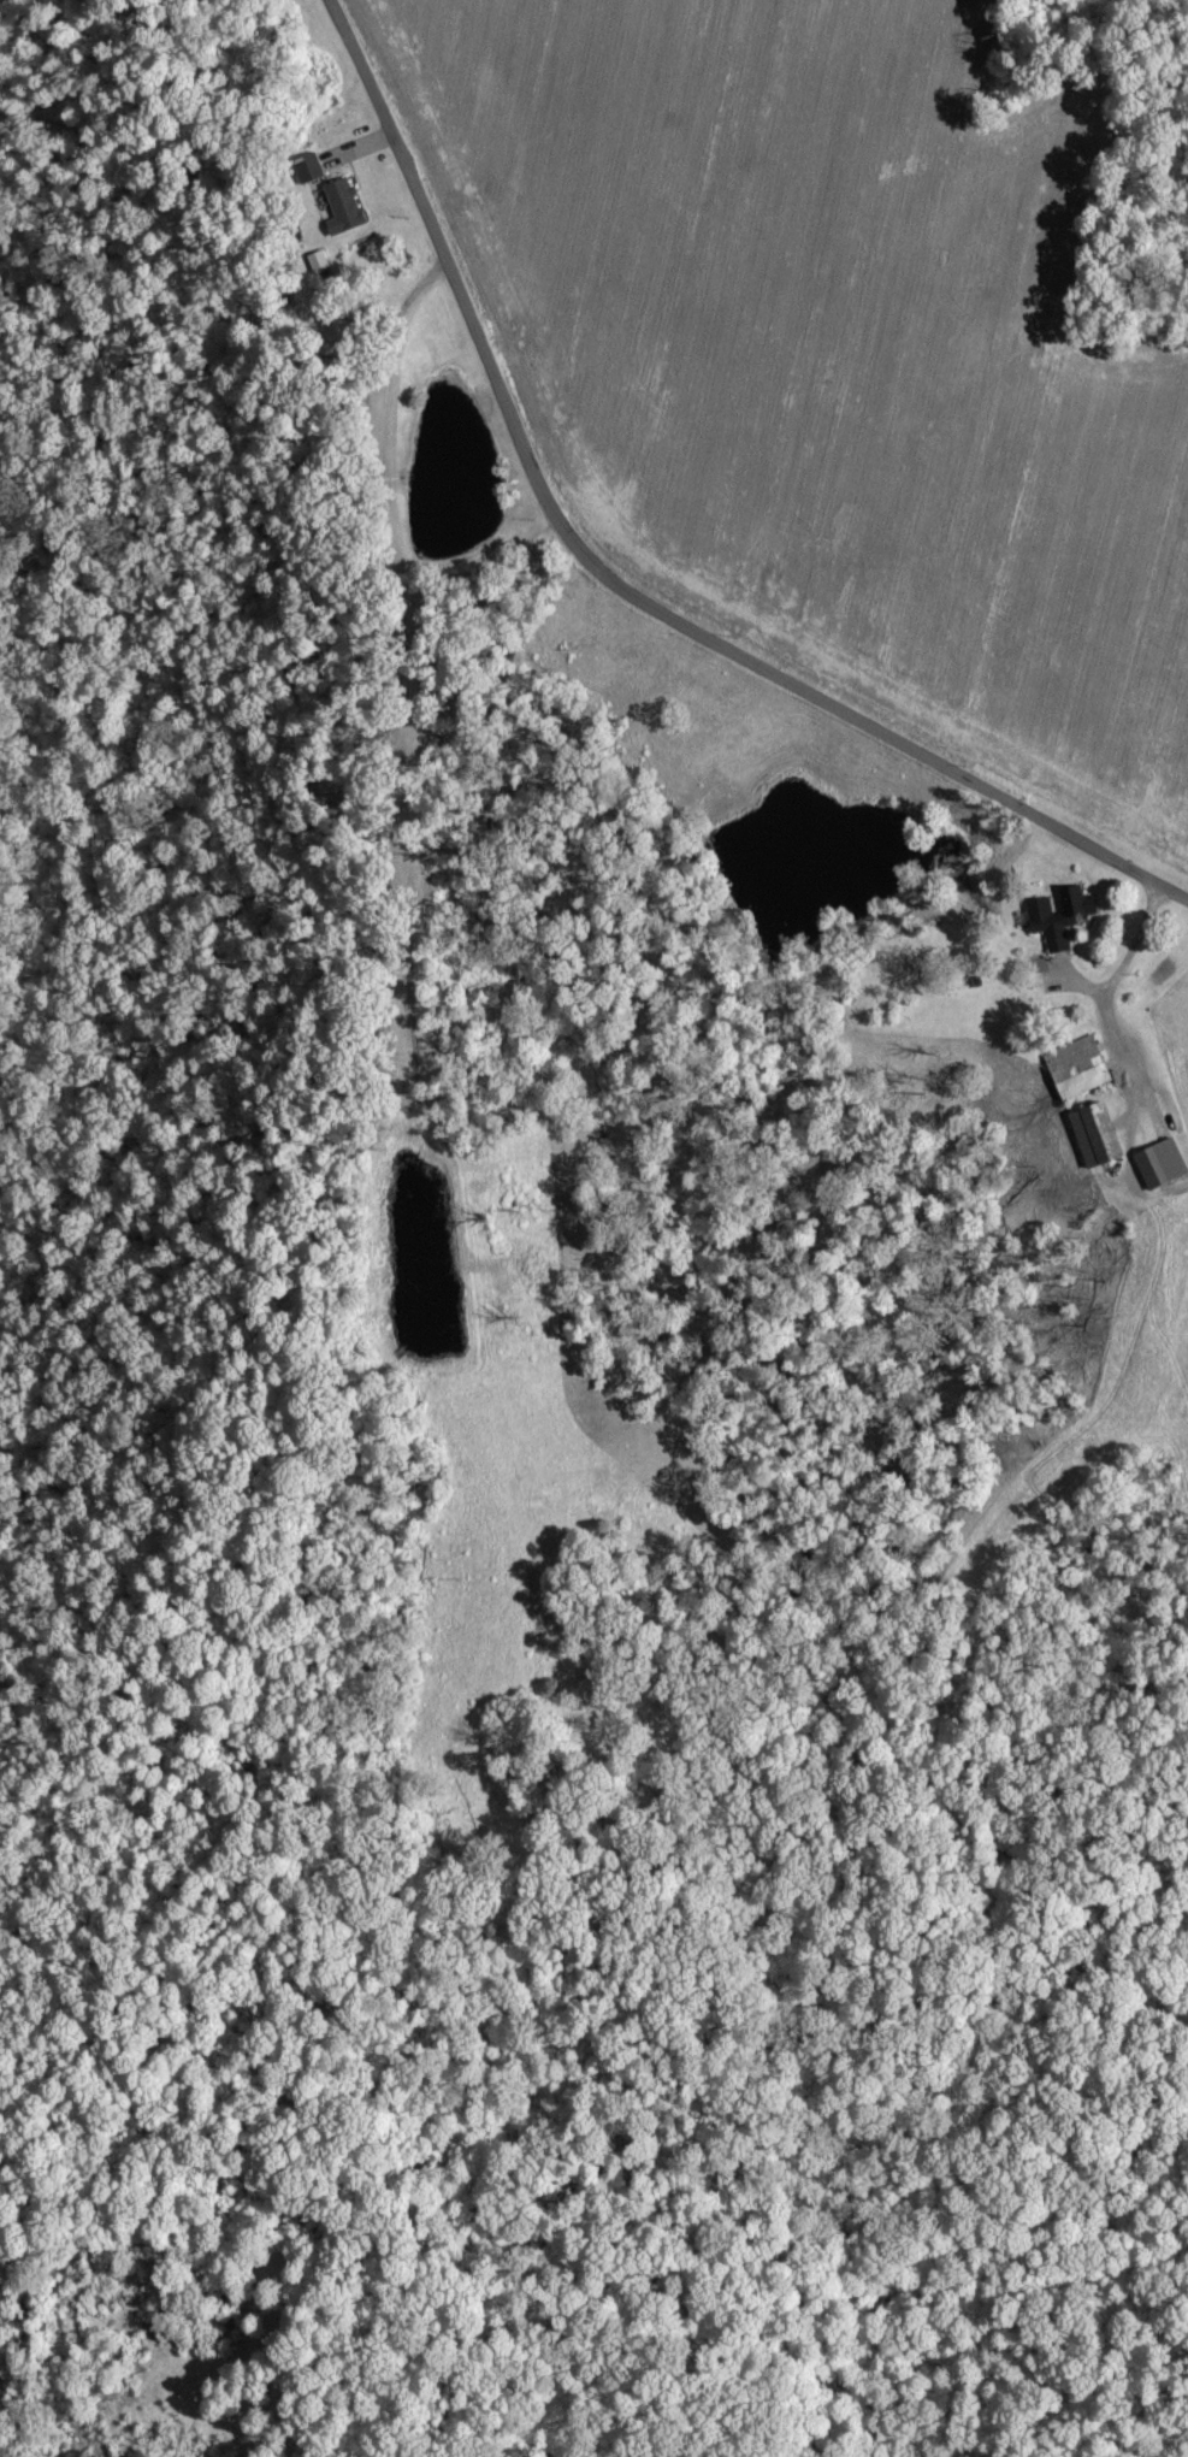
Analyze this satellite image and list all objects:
building: (311, 167)
building: (345, 206)
road: (613, 584)
building: (1060, 916)
road: (1117, 969)
building: (1080, 1068)
building: (1098, 1135)

